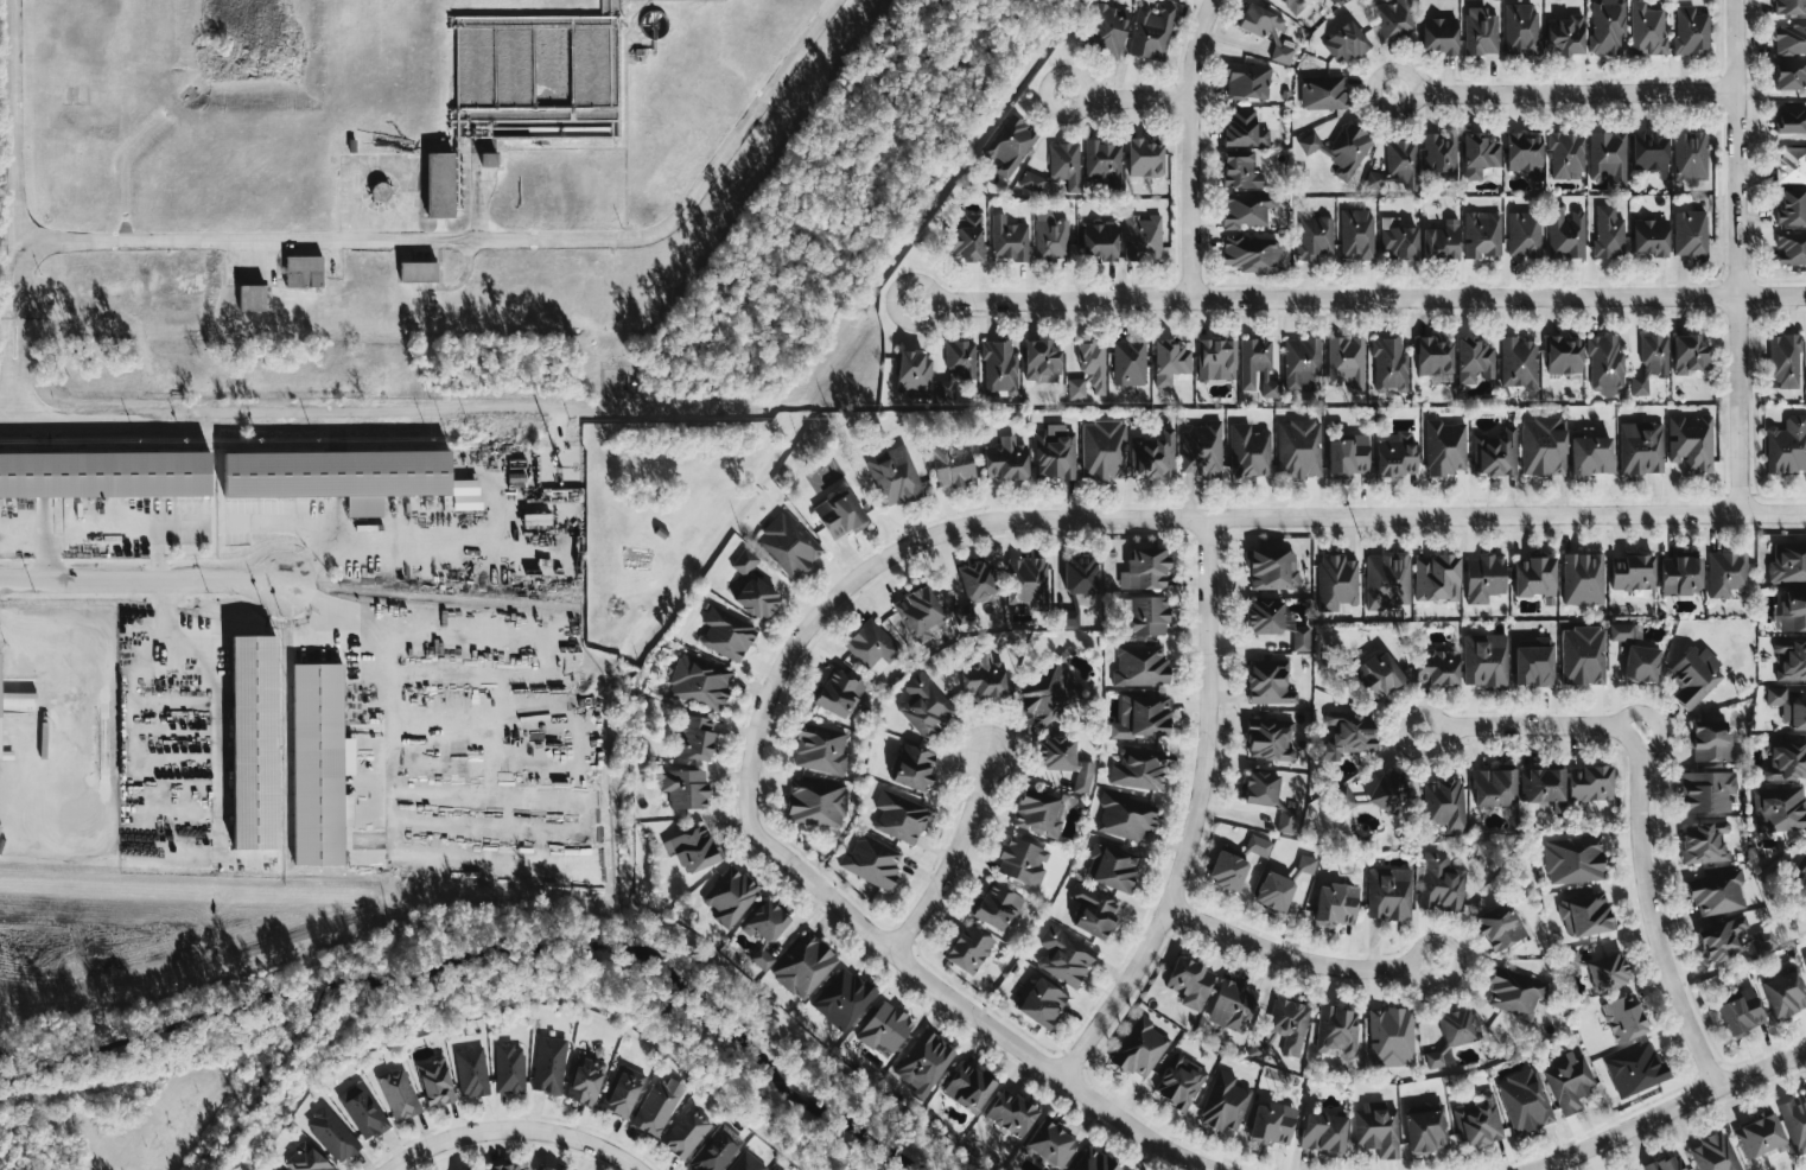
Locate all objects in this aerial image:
building: (1293, 5)
building: (1789, 6)
building: (1395, 20)
building: (1607, 26)
building: (1521, 28)
building: (1107, 30)
building: (1267, 30)
building: (1647, 30)
building: (1691, 30)
building: (1480, 31)
building: (1151, 32)
building: (1441, 34)
building: (1566, 34)
building: (1791, 39)
building: (1346, 43)
building: (1789, 75)
building: (1248, 81)
road: (1566, 91)
building: (1324, 93)
road: (1128, 98)
building: (1791, 119)
road: (625, 123)
building: (1244, 129)
building: (1009, 145)
road: (1191, 147)
road: (1737, 147)
building: (1341, 148)
building: (1524, 152)
building: (1651, 153)
building: (1441, 154)
building: (1480, 154)
building: (1566, 155)
building: (1609, 157)
building: (1144, 158)
building: (1102, 163)
building: (1791, 164)
building: (1397, 166)
building: (1057, 168)
building: (1240, 170)
wastewater plant: (380, 184)
building: (440, 185)
building: (1792, 208)
building: (1246, 209)
road: (24, 222)
building: (1609, 231)
building: (1565, 233)
building: (1690, 233)
building: (1356, 234)
building: (1482, 234)
building: (1524, 234)
building: (1050, 236)
building: (1651, 236)
building: (1143, 237)
building: (1315, 237)
building: (967, 239)
building: (1007, 239)
building: (1398, 240)
building: (1442, 240)
building: (1100, 241)
building: (1791, 248)
road: (495, 249)
building: (1252, 253)
building: (304, 271)
building: (418, 272)
road: (459, 284)
building: (252, 298)
road: (1361, 298)
building: (1690, 354)
building: (1564, 355)
building: (1433, 356)
building: (1216, 358)
building: (1041, 361)
building: (1170, 361)
building: (1302, 361)
building: (1474, 361)
building: (1785, 361)
building: (1130, 362)
building: (1347, 362)
building: (1519, 362)
building: (1651, 363)
building: (1390, 364)
building: (1605, 364)
building: (958, 365)
building: (1258, 365)
building: (1000, 368)
building: (1089, 370)
building: (915, 371)
road: (1740, 403)
road: (323, 414)
building: (1691, 443)
building: (1544, 445)
building: (1787, 446)
building: (1445, 447)
building: (1641, 447)
building: (1202, 449)
building: (1299, 449)
building: (1104, 450)
building: (1249, 451)
building: (1055, 452)
building: (1496, 453)
building: (1153, 454)
building: (1397, 454)
building: (1347, 456)
building: (1591, 456)
building: (1006, 459)
building: (953, 464)
building: (104, 473)
building: (895, 476)
building: (346, 477)
road: (753, 484)
road: (769, 497)
building: (840, 515)
road: (765, 516)
road: (1175, 519)
road: (102, 530)
building: (789, 545)
building: (744, 561)
building: (1788, 564)
building: (1145, 568)
building: (1272, 568)
road: (833, 570)
building: (1633, 572)
building: (1726, 573)
building: (1081, 574)
building: (1681, 576)
building: (1534, 577)
building: (1436, 578)
building: (1484, 578)
building: (1583, 578)
building: (978, 581)
building: (1336, 581)
building: (1388, 581)
building: (1026, 583)
road: (140, 584)
building: (757, 598)
building: (1791, 612)
building: (920, 613)
building: (1144, 615)
building: (1067, 617)
building: (1265, 617)
building: (726, 634)
building: (1301, 638)
building: (872, 647)
building: (1583, 656)
building: (1484, 660)
building: (1791, 660)
building: (1534, 663)
building: (1641, 663)
building: (1140, 665)
building: (1436, 667)
building: (1378, 675)
building: (1694, 675)
building: (983, 676)
building: (0, 678)
building: (699, 682)
road: (392, 683)
building: (1270, 683)
road: (214, 687)
building: (838, 693)
building: (1045, 694)
building: (1776, 695)
building: (924, 705)
building: (1798, 713)
building: (1142, 718)
road: (1526, 729)
building: (1347, 733)
building: (694, 738)
building: (1270, 739)
building: (254, 742)
building: (1711, 743)
building: (821, 750)
building: (1064, 761)
building: (1787, 761)
building: (319, 764)
building: (914, 767)
building: (1138, 768)
building: (1590, 783)
building: (1541, 784)
building: (1493, 787)
building: (685, 788)
building: (1260, 788)
building: (1390, 790)
building: (1706, 790)
building: (1344, 797)
building: (816, 802)
building: (1444, 803)
building: (1780, 808)
building: (1041, 813)
road: (1195, 813)
building: (1126, 815)
building: (899, 816)
building: (1286, 820)
building: (1704, 841)
building: (1258, 845)
building: (693, 848)
road: (953, 856)
building: (871, 860)
building: (1573, 860)
building: (1022, 861)
building: (1306, 864)
building: (1802, 864)
building: (1112, 866)
building: (1227, 871)
building: (1441, 883)
building: (1274, 891)
building: (1390, 894)
building: (1718, 894)
building: (731, 897)
building: (1335, 904)
building: (997, 907)
building: (1094, 913)
building: (1585, 915)
road: (1648, 915)
building: (767, 921)
building: (1499, 926)
building: (1731, 940)
building: (969, 949)
road: (1284, 954)
building: (1064, 955)
building: (1805, 955)
road: (1458, 956)
building: (762, 958)
building: (1572, 961)
building: (803, 965)
building: (1607, 972)
building: (1190, 983)
building: (1785, 990)
building: (1514, 993)
building: (842, 998)
building: (1042, 1003)
building: (1233, 1005)
building: (1741, 1012)
road: (985, 1016)
building: (1623, 1017)
building: (1289, 1024)
building: (885, 1028)
building: (1336, 1031)
building: (1391, 1036)
building: (1451, 1036)
building: (1139, 1048)
building: (924, 1063)
building: (549, 1064)
building: (1634, 1068)
building: (509, 1069)
building: (471, 1072)
building: (1179, 1080)
building: (435, 1081)
building: (586, 1081)
building: (1569, 1081)
building: (968, 1087)
building: (623, 1092)
building: (399, 1093)
building: (1525, 1101)
building: (1225, 1102)
building: (657, 1106)
road: (1666, 1106)
building: (364, 1111)
building: (1011, 1113)
building: (1478, 1121)
building: (1795, 1121)
building: (1272, 1124)
road: (514, 1127)
building: (1426, 1128)
building: (1378, 1130)
building: (686, 1132)
building: (332, 1133)
building: (1324, 1133)
building: (1757, 1136)
building: (1050, 1144)
building: (716, 1150)
building: (1713, 1152)
building: (306, 1159)
building: (1094, 1161)
building: (746, 1163)
building: (1667, 1163)
building: (505, 1166)
building: (272, 1168)
building: (545, 1168)
building: (478, 1169)
building: (774, 1169)

